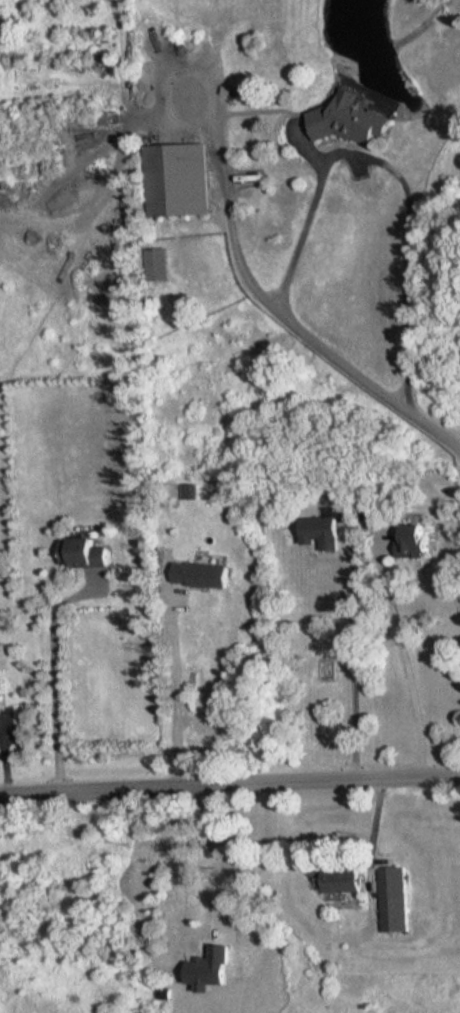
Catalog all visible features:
building: (349, 119)
building: (176, 178)
road: (300, 232)
road: (410, 252)
road: (266, 308)
building: (319, 531)
building: (411, 541)
building: (82, 552)
building: (200, 573)
road: (406, 661)
road: (353, 670)
road: (55, 677)
road: (177, 692)
building: (0, 700)
road: (230, 788)
road: (376, 819)
road: (243, 846)
building: (342, 879)
building: (394, 897)

